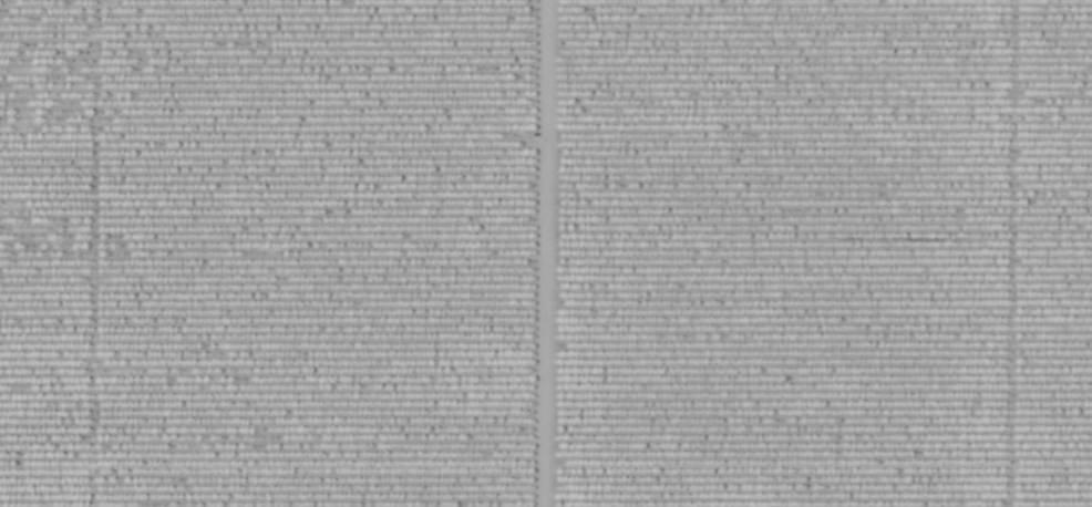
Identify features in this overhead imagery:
crop: (266, 252)
road: (542, 253)

